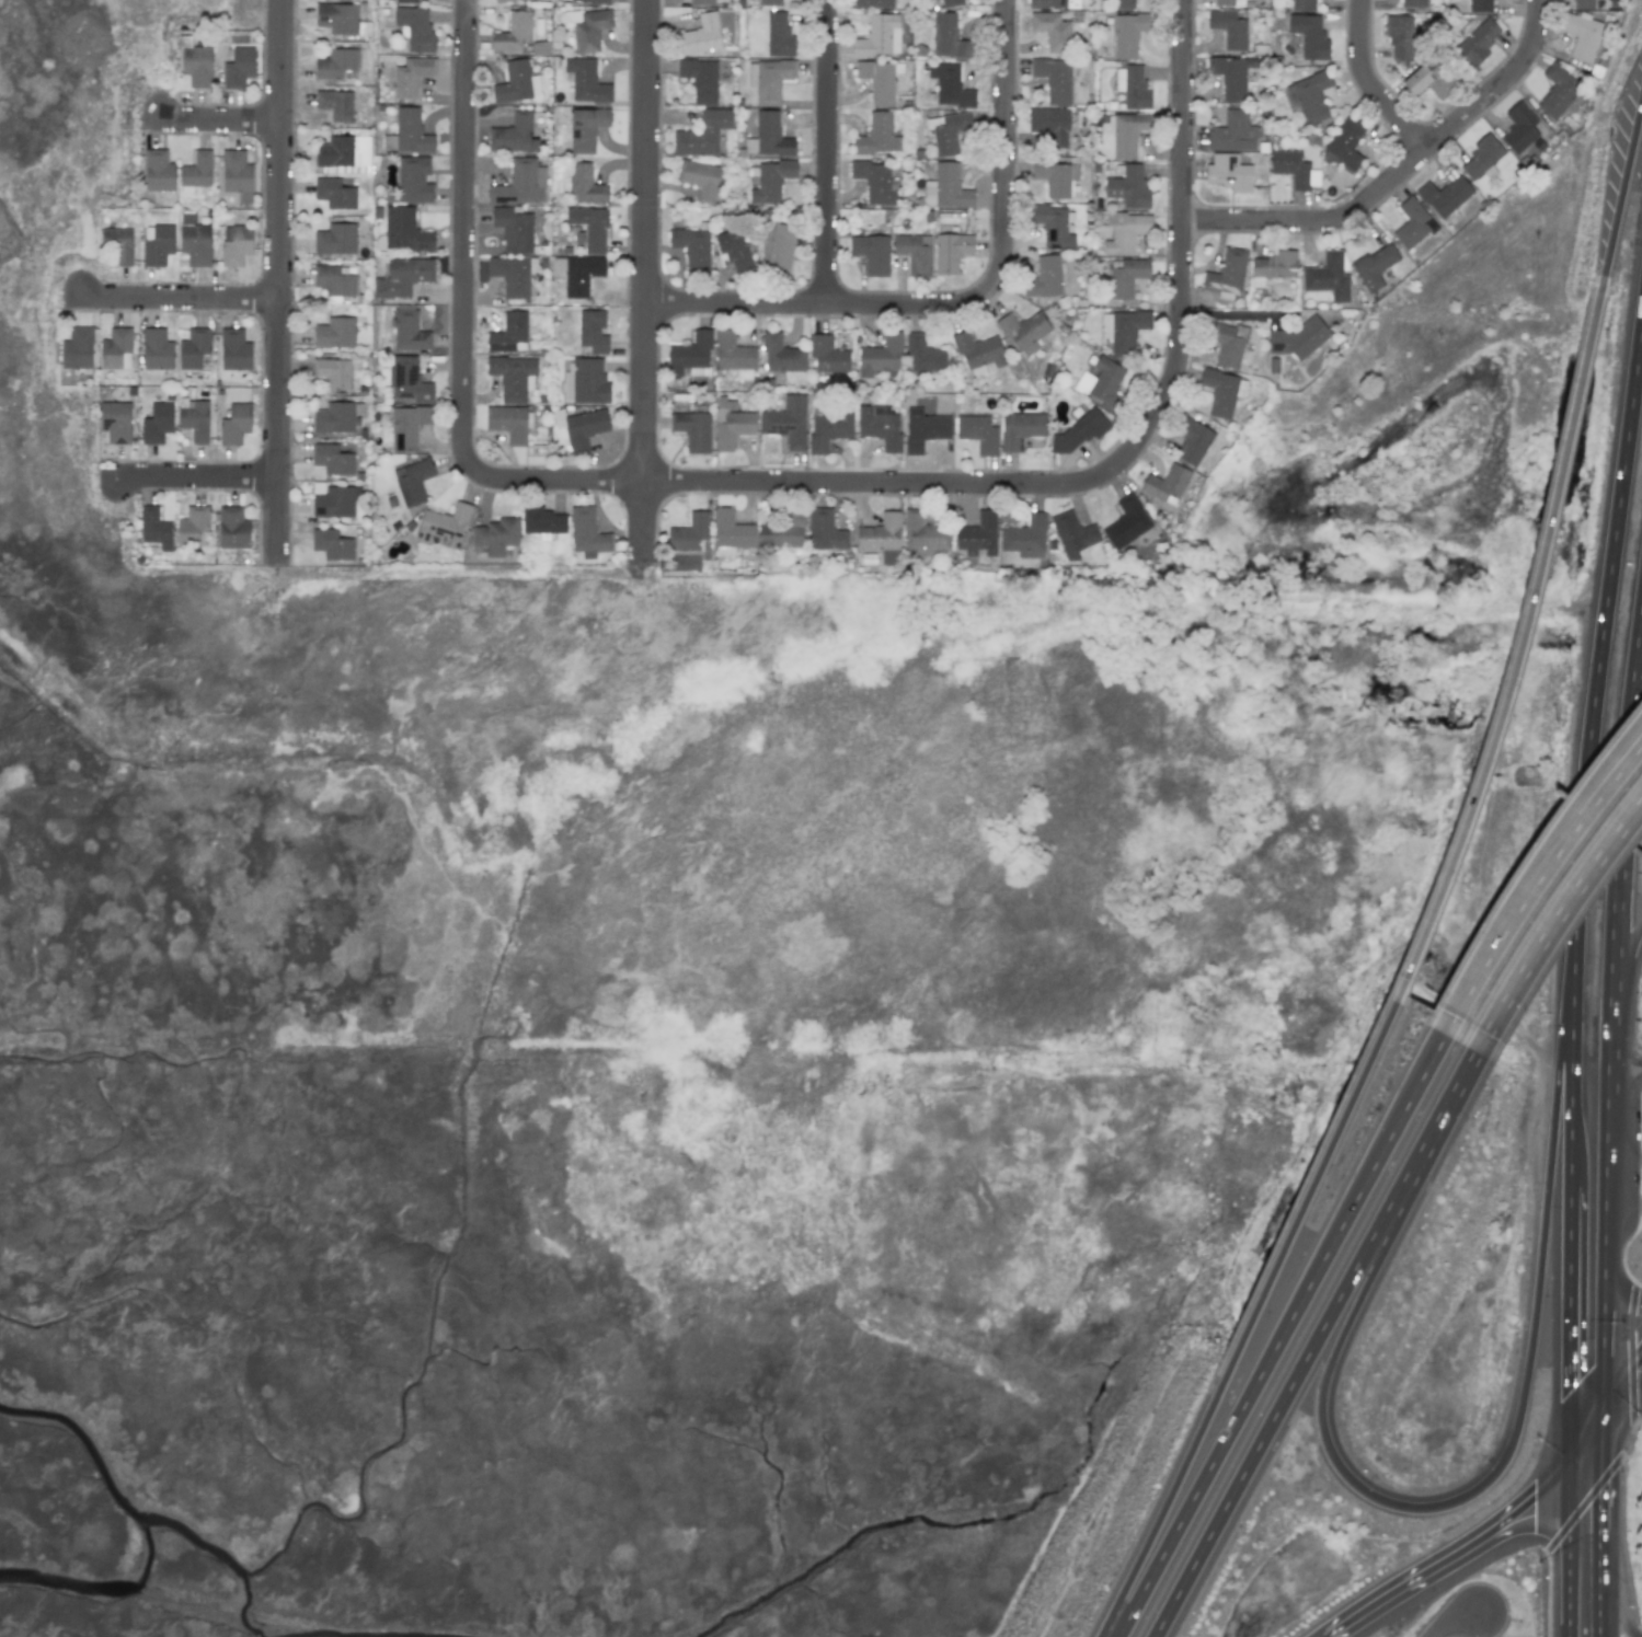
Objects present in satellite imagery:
building: (407, 0)
building: (500, 1)
building: (590, 1)
building: (701, 2)
building: (770, 2)
building: (1224, 2)
building: (873, 3)
building: (951, 3)
building: (1052, 3)
building: (1413, 3)
building: (1582, 3)
building: (1123, 4)
building: (1302, 4)
building: (1480, 5)
building: (338, 19)
building: (588, 27)
building: (415, 28)
building: (1228, 28)
building: (1052, 31)
building: (513, 32)
building: (1129, 33)
building: (701, 35)
building: (779, 35)
building: (879, 36)
building: (948, 36)
building: (1310, 36)
building: (1582, 36)
building: (1399, 38)
building: (1478, 41)
building: (335, 64)
building: (197, 66)
building: (238, 68)
building: (411, 76)
building: (1231, 76)
building: (769, 79)
building: (1054, 79)
building: (586, 80)
building: (700, 80)
building: (877, 81)
building: (1428, 81)
building: (516, 82)
road: (1368, 84)
building: (1133, 88)
building: (1558, 90)
building: (1311, 95)
building: (334, 103)
road: (218, 118)
building: (1049, 125)
building: (1519, 127)
building: (586, 128)
building: (946, 131)
building: (407, 132)
building: (1231, 132)
building: (513, 134)
building: (702, 134)
building: (1127, 134)
building: (877, 135)
building: (768, 136)
building: (1344, 146)
road: (828, 152)
building: (343, 153)
building: (1481, 159)
building: (1291, 168)
building: (158, 171)
road: (1399, 171)
building: (196, 172)
building: (1228, 173)
building: (237, 175)
building: (1053, 177)
building: (699, 178)
building: (413, 180)
building: (769, 181)
building: (874, 181)
building: (520, 183)
building: (584, 185)
building: (946, 187)
building: (1128, 187)
road: (1622, 187)
building: (334, 193)
building: (1445, 195)
building: (1412, 223)
building: (1053, 227)
building: (588, 228)
building: (513, 229)
building: (405, 230)
building: (1125, 231)
road: (467, 233)
building: (335, 239)
building: (194, 240)
road: (650, 241)
building: (118, 244)
building: (780, 247)
building: (692, 249)
building: (734, 250)
building: (950, 252)
building: (871, 253)
building: (915, 253)
building: (1273, 266)
building: (1374, 266)
building: (576, 273)
building: (1226, 273)
building: (513, 275)
road: (1183, 275)
building: (403, 276)
building: (1125, 276)
building: (1328, 276)
building: (1044, 277)
building: (333, 280)
road: (275, 281)
road: (176, 297)
road: (969, 301)
building: (1124, 330)
building: (1024, 331)
building: (334, 332)
building: (409, 332)
building: (592, 332)
building: (509, 333)
building: (1298, 338)
building: (1227, 343)
building: (77, 348)
building: (116, 348)
building: (193, 348)
building: (156, 349)
building: (233, 349)
building: (978, 350)
building: (733, 353)
building: (782, 354)
building: (923, 354)
building: (827, 355)
building: (690, 356)
building: (881, 356)
building: (333, 372)
building: (513, 377)
building: (407, 380)
building: (1100, 381)
building: (586, 382)
building: (1222, 392)
building: (334, 417)
building: (194, 418)
building: (115, 422)
building: (786, 422)
building: (157, 423)
building: (507, 423)
building: (234, 424)
building: (732, 425)
building: (406, 426)
building: (880, 427)
building: (829, 428)
building: (1021, 428)
building: (923, 429)
building: (692, 430)
building: (978, 433)
building: (1191, 440)
building: (332, 459)
road: (194, 477)
road: (1560, 477)
building: (412, 481)
road: (765, 482)
building: (1167, 484)
building: (333, 503)
building: (542, 522)
building: (1126, 522)
building: (444, 524)
building: (154, 528)
building: (233, 528)
road: (647, 528)
building: (825, 530)
building: (689, 532)
building: (730, 532)
building: (587, 533)
building: (783, 533)
building: (1072, 533)
building: (922, 534)
building: (978, 534)
building: (496, 535)
building: (881, 535)
building: (1025, 537)
building: (331, 544)
road: (1599, 650)
road: (1623, 805)
road: (1460, 842)
road: (1530, 867)
road: (1536, 885)
road: (1553, 924)
road: (1627, 949)
road: (1626, 1056)
road: (1572, 1062)
road: (1626, 1095)
road: (1610, 1096)
road: (1626, 1161)
road: (1624, 1199)
road: (1616, 1295)
road: (1570, 1299)
road: (1603, 1318)
road: (1250, 1321)
road: (1281, 1336)
road: (1313, 1344)
road: (1621, 1395)
road: (1585, 1436)
road: (1600, 1452)
road: (1570, 1488)
road: (1524, 1501)
road: (1442, 1505)
road: (1584, 1505)
road: (1519, 1525)
road: (1599, 1561)
road: (1545, 1575)
road: (1620, 1576)
road: (1569, 1580)
road: (1398, 1589)
road: (1620, 1606)
road: (1452, 1622)
road: (1485, 1625)

